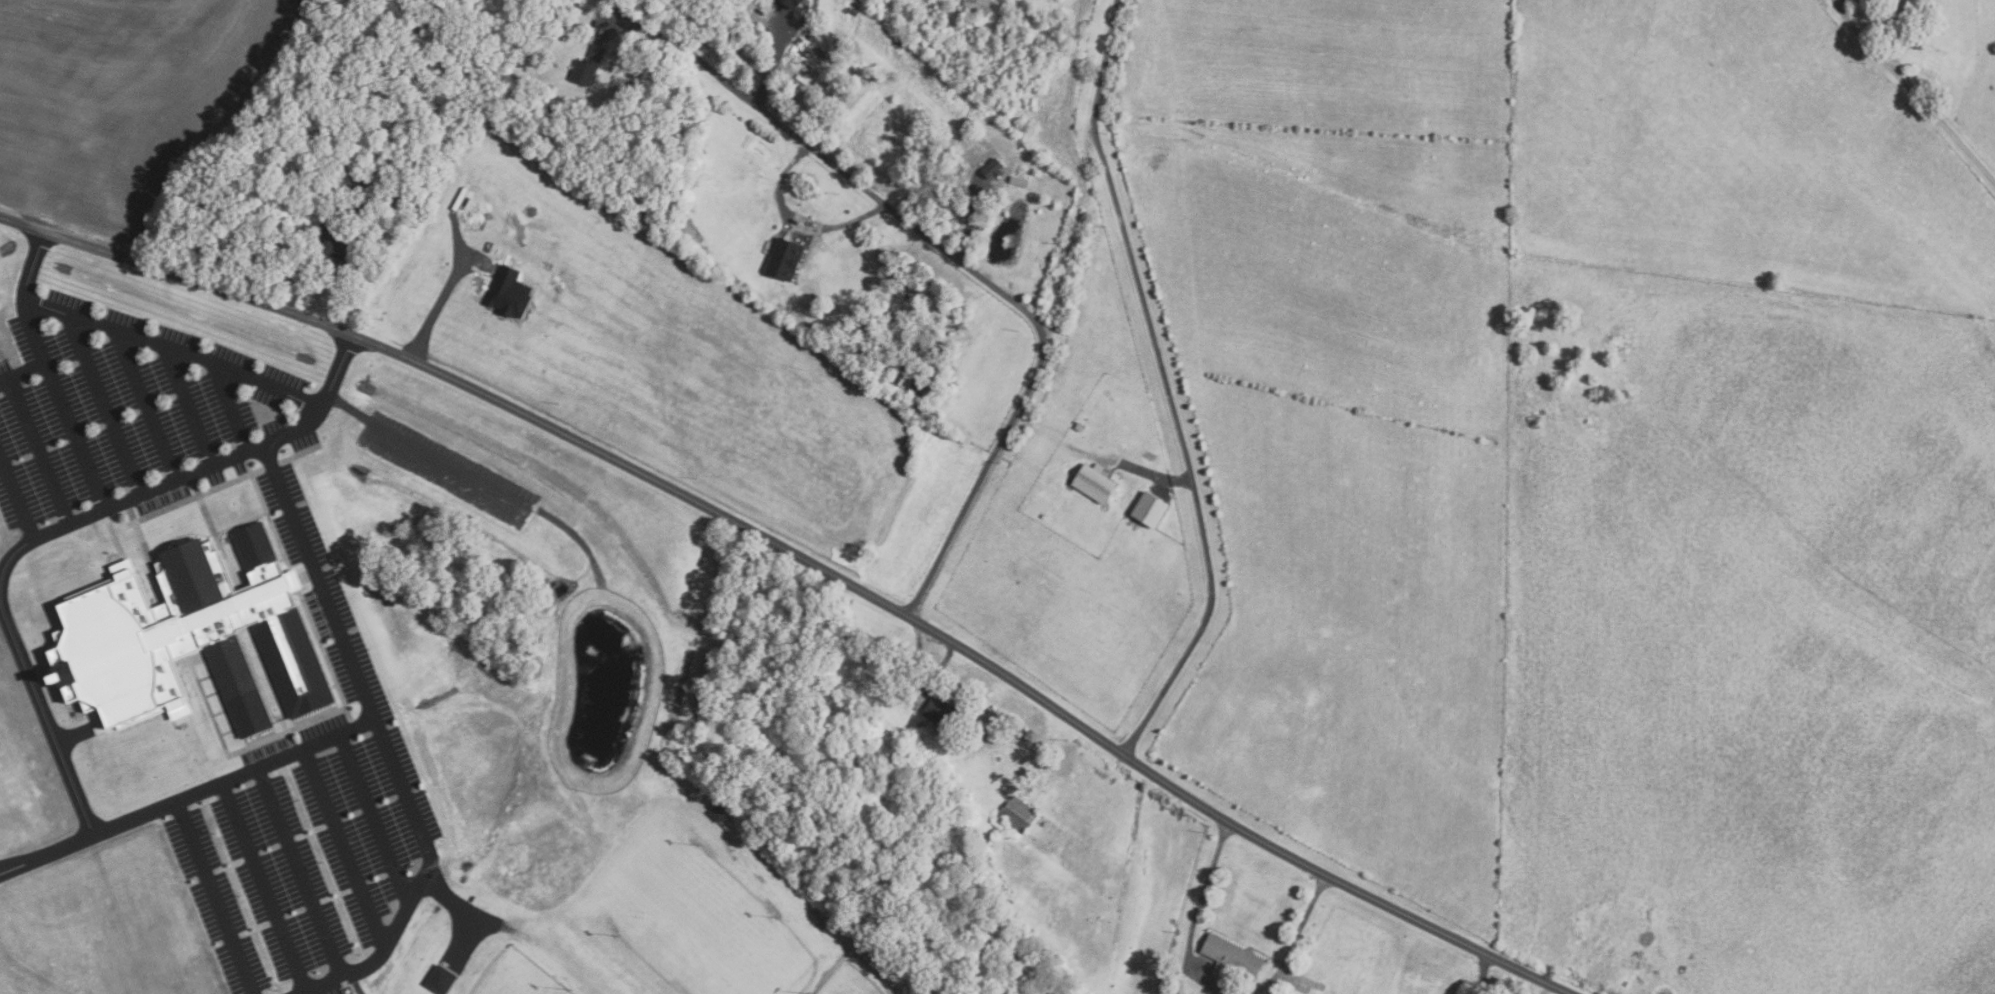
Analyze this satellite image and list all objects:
building: (793, 3)
building: (976, 7)
road: (660, 34)
building: (1917, 41)
building: (898, 43)
building: (810, 52)
road: (773, 60)
road: (1101, 64)
building: (587, 65)
road: (1912, 93)
crop: (124, 97)
building: (367, 177)
building: (1019, 180)
road: (868, 190)
building: (377, 200)
building: (381, 217)
building: (364, 219)
road: (798, 222)
building: (341, 250)
building: (785, 258)
building: (509, 291)
road: (439, 307)
road: (176, 350)
crop: (681, 358)
road: (21, 370)
road: (58, 402)
road: (103, 402)
road: (149, 405)
road: (191, 406)
road: (233, 408)
crop: (1339, 409)
parking lot: (131, 410)
building: (1080, 426)
road: (37, 448)
road: (1183, 449)
road: (422, 454)
road: (986, 467)
parking lot: (446, 468)
road: (183, 476)
building: (1094, 484)
road: (16, 498)
building: (1150, 509)
building: (1043, 515)
road: (46, 528)
road: (307, 548)
road: (806, 560)
road: (1, 613)
building: (182, 633)
building: (917, 700)
building: (940, 711)
road: (45, 721)
building: (921, 724)
building: (1034, 759)
road: (407, 795)
road: (169, 803)
building: (720, 810)
building: (1019, 814)
parking lot: (312, 815)
road: (373, 820)
road: (345, 847)
road: (301, 873)
road: (264, 887)
road: (214, 897)
building: (1231, 957)
road: (370, 965)
park: (518, 976)
building: (441, 980)
park: (850, 981)
road: (1212, 983)

